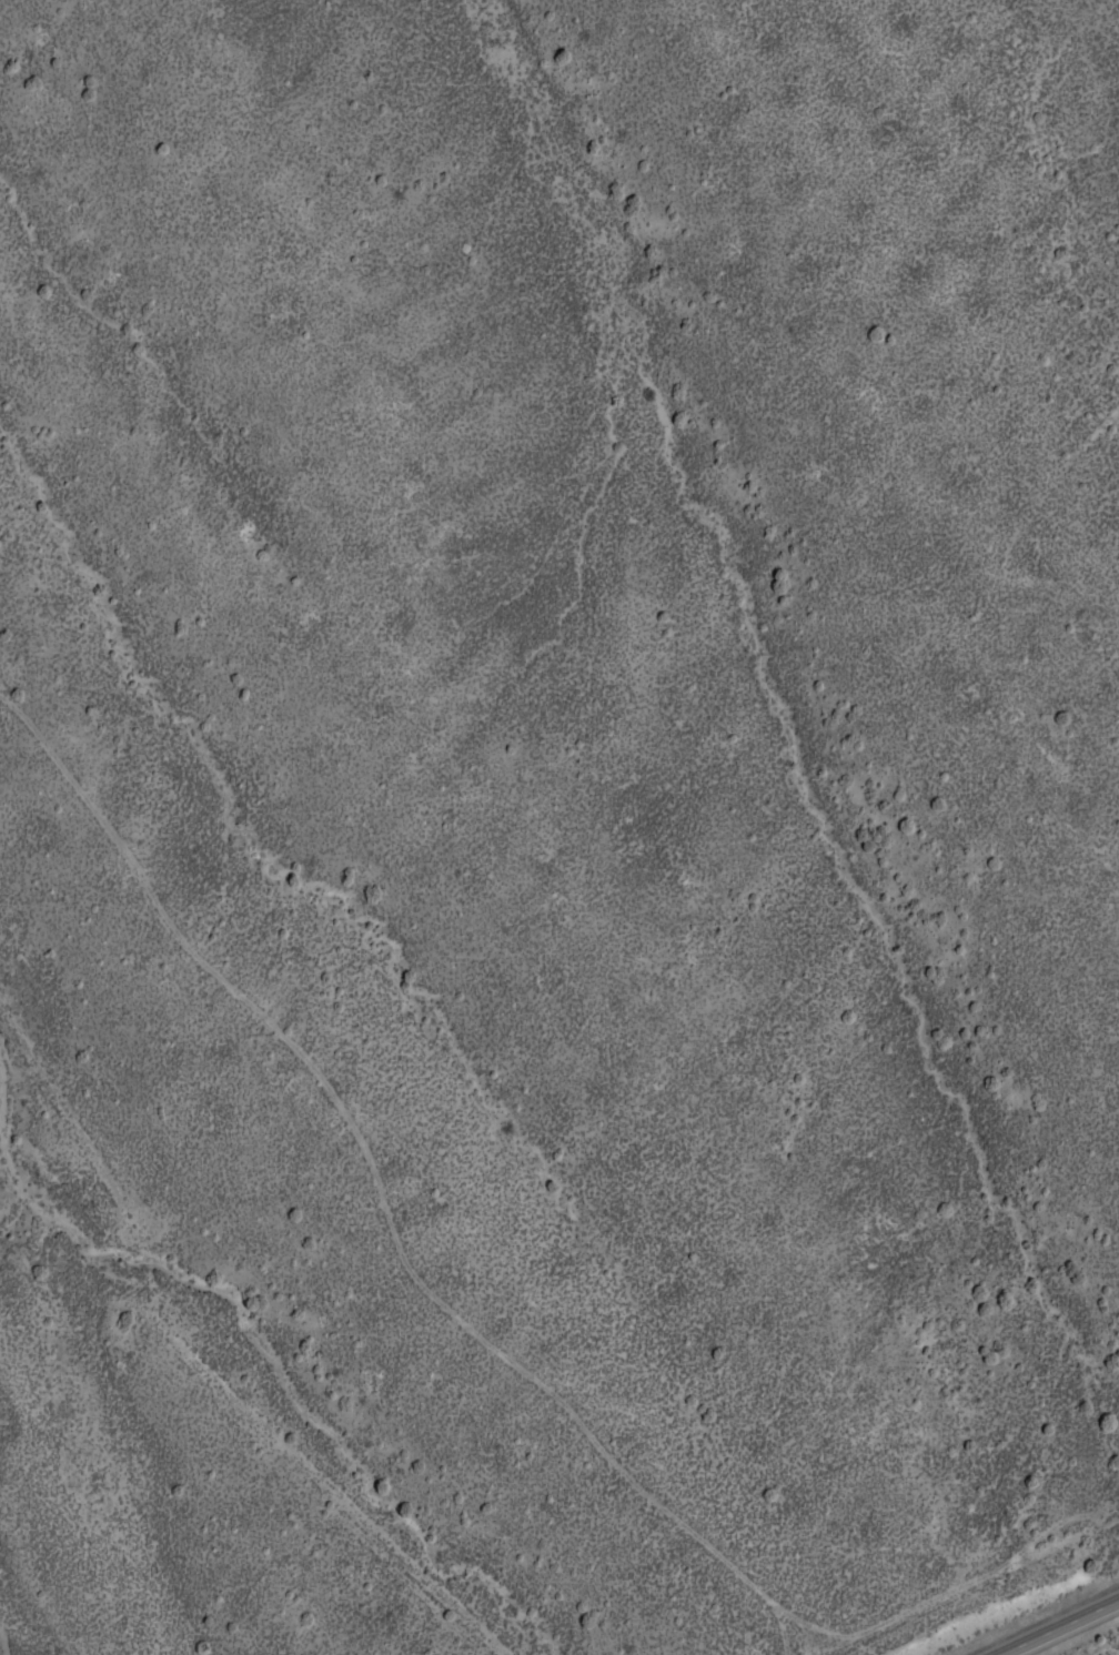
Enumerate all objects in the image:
road: (1057, 1626)

